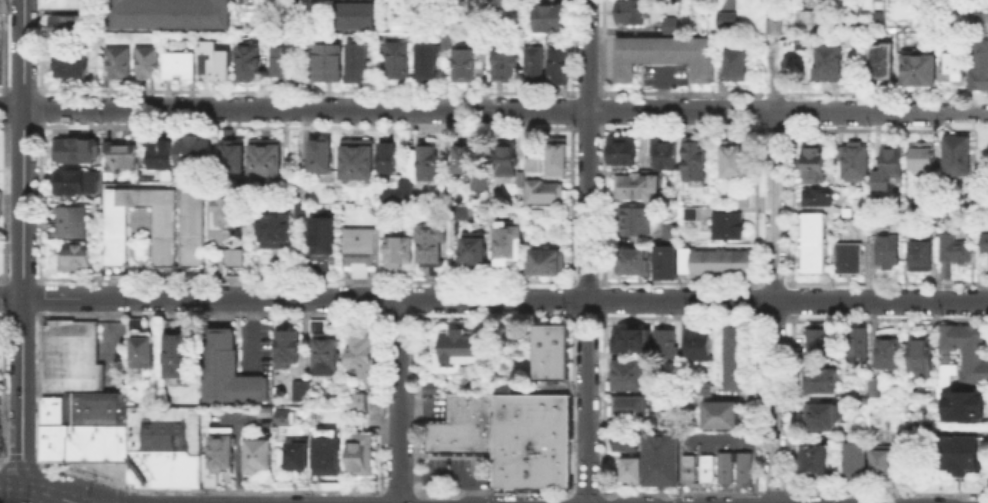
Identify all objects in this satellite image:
building: (500, 4)
building: (73, 5)
building: (629, 11)
building: (172, 14)
building: (725, 18)
building: (806, 18)
building: (358, 19)
building: (983, 20)
building: (551, 22)
building: (669, 23)
building: (770, 25)
building: (66, 30)
building: (482, 43)
building: (449, 44)
road: (571, 48)
road: (601, 48)
road: (24, 53)
building: (662, 54)
building: (399, 60)
building: (217, 61)
building: (826, 62)
building: (251, 63)
building: (361, 63)
building: (735, 63)
building: (884, 63)
building: (150, 64)
building: (978, 64)
building: (75, 65)
building: (120, 65)
building: (331, 65)
building: (429, 65)
building: (505, 65)
building: (465, 66)
building: (953, 66)
building: (181, 67)
building: (285, 67)
building: (537, 68)
building: (561, 70)
building: (921, 72)
road: (773, 75)
road: (777, 91)
road: (887, 92)
road: (788, 94)
road: (12, 107)
road: (398, 109)
road: (571, 109)
road: (601, 109)
road: (788, 110)
road: (856, 111)
road: (964, 111)
road: (756, 116)
road: (779, 129)
road: (888, 129)
building: (620, 148)
building: (79, 151)
building: (663, 151)
building: (198, 152)
building: (956, 154)
building: (235, 155)
building: (127, 156)
building: (164, 156)
building: (323, 158)
building: (560, 158)
building: (466, 159)
building: (692, 159)
building: (731, 159)
building: (924, 159)
building: (390, 160)
building: (508, 160)
building: (359, 161)
building: (430, 162)
building: (812, 162)
building: (268, 163)
building: (856, 163)
building: (894, 163)
building: (535, 165)
building: (78, 184)
building: (482, 184)
building: (634, 184)
building: (545, 193)
building: (401, 194)
building: (815, 196)
building: (743, 197)
road: (979, 198)
building: (444, 199)
road: (22, 201)
road: (570, 204)
road: (602, 204)
road: (755, 204)
road: (791, 205)
building: (227, 207)
building: (304, 212)
building: (689, 212)
building: (539, 214)
building: (633, 219)
building: (73, 223)
building: (725, 224)
building: (194, 226)
building: (668, 231)
building: (279, 232)
building: (164, 234)
building: (324, 239)
building: (811, 241)
building: (987, 245)
building: (434, 246)
building: (511, 246)
building: (362, 251)
road: (587, 251)
building: (957, 251)
building: (400, 252)
building: (889, 252)
building: (474, 253)
building: (234, 256)
building: (922, 256)
building: (79, 258)
building: (632, 259)
building: (851, 260)
building: (665, 261)
building: (714, 261)
building: (549, 263)
road: (27, 278)
road: (305, 279)
road: (586, 281)
road: (381, 282)
road: (679, 282)
road: (773, 282)
road: (885, 282)
road: (418, 283)
road: (10, 296)
road: (381, 298)
road: (418, 298)
road: (504, 298)
road: (602, 298)
road: (571, 299)
road: (754, 299)
road: (791, 299)
road: (774, 306)
road: (27, 315)
road: (210, 315)
road: (399, 316)
road: (586, 316)
road: (493, 317)
road: (680, 317)
road: (773, 318)
road: (885, 318)
building: (134, 322)
building: (170, 323)
road: (251, 331)
road: (112, 338)
building: (633, 341)
building: (819, 341)
building: (286, 345)
building: (667, 346)
building: (700, 346)
building: (323, 347)
building: (859, 347)
building: (458, 348)
building: (966, 348)
building: (142, 349)
building: (554, 352)
building: (177, 354)
building: (361, 354)
building: (69, 355)
building: (889, 355)
building: (920, 355)
building: (734, 357)
building: (626, 362)
building: (625, 370)
building: (232, 371)
building: (626, 377)
building: (819, 379)
building: (625, 385)
building: (302, 386)
building: (429, 386)
building: (876, 387)
road: (21, 391)
road: (399, 400)
building: (356, 401)
road: (754, 402)
road: (380, 403)
road: (417, 403)
building: (527, 403)
road: (792, 404)
road: (571, 405)
road: (602, 405)
building: (630, 405)
building: (469, 407)
building: (965, 408)
building: (265, 410)
building: (719, 412)
building: (821, 415)
building: (283, 416)
road: (241, 419)
building: (664, 419)
building: (914, 425)
building: (84, 426)
building: (541, 430)
building: (436, 436)
building: (469, 436)
road: (731, 436)
building: (624, 441)
building: (163, 445)
building: (220, 448)
building: (327, 451)
building: (960, 451)
building: (358, 452)
building: (503, 452)
building: (256, 453)
building: (297, 454)
building: (660, 458)
building: (813, 458)
building: (854, 458)
traffic signals: (22, 459)
road: (238, 461)
building: (880, 462)
building: (541, 464)
road: (29, 465)
building: (742, 466)
building: (688, 467)
building: (705, 467)
building: (724, 467)
building: (629, 469)
building: (206, 471)
parking lot: (455, 471)
road: (912, 473)
road: (446, 474)
road: (11, 487)
road: (121, 488)
road: (209, 492)
road: (399, 492)
road: (46, 493)
road: (493, 493)
road: (587, 493)
road: (682, 493)
road: (635, 494)
road: (775, 494)
road: (887, 494)
road: (121, 496)
road: (664, 496)
road: (965, 497)
road: (379, 499)
road: (635, 499)
road: (791, 499)
road: (417, 500)
road: (570, 500)
road: (608, 500)
road: (664, 501)
road: (965, 501)
road: (70, 502)
road: (73, 502)

